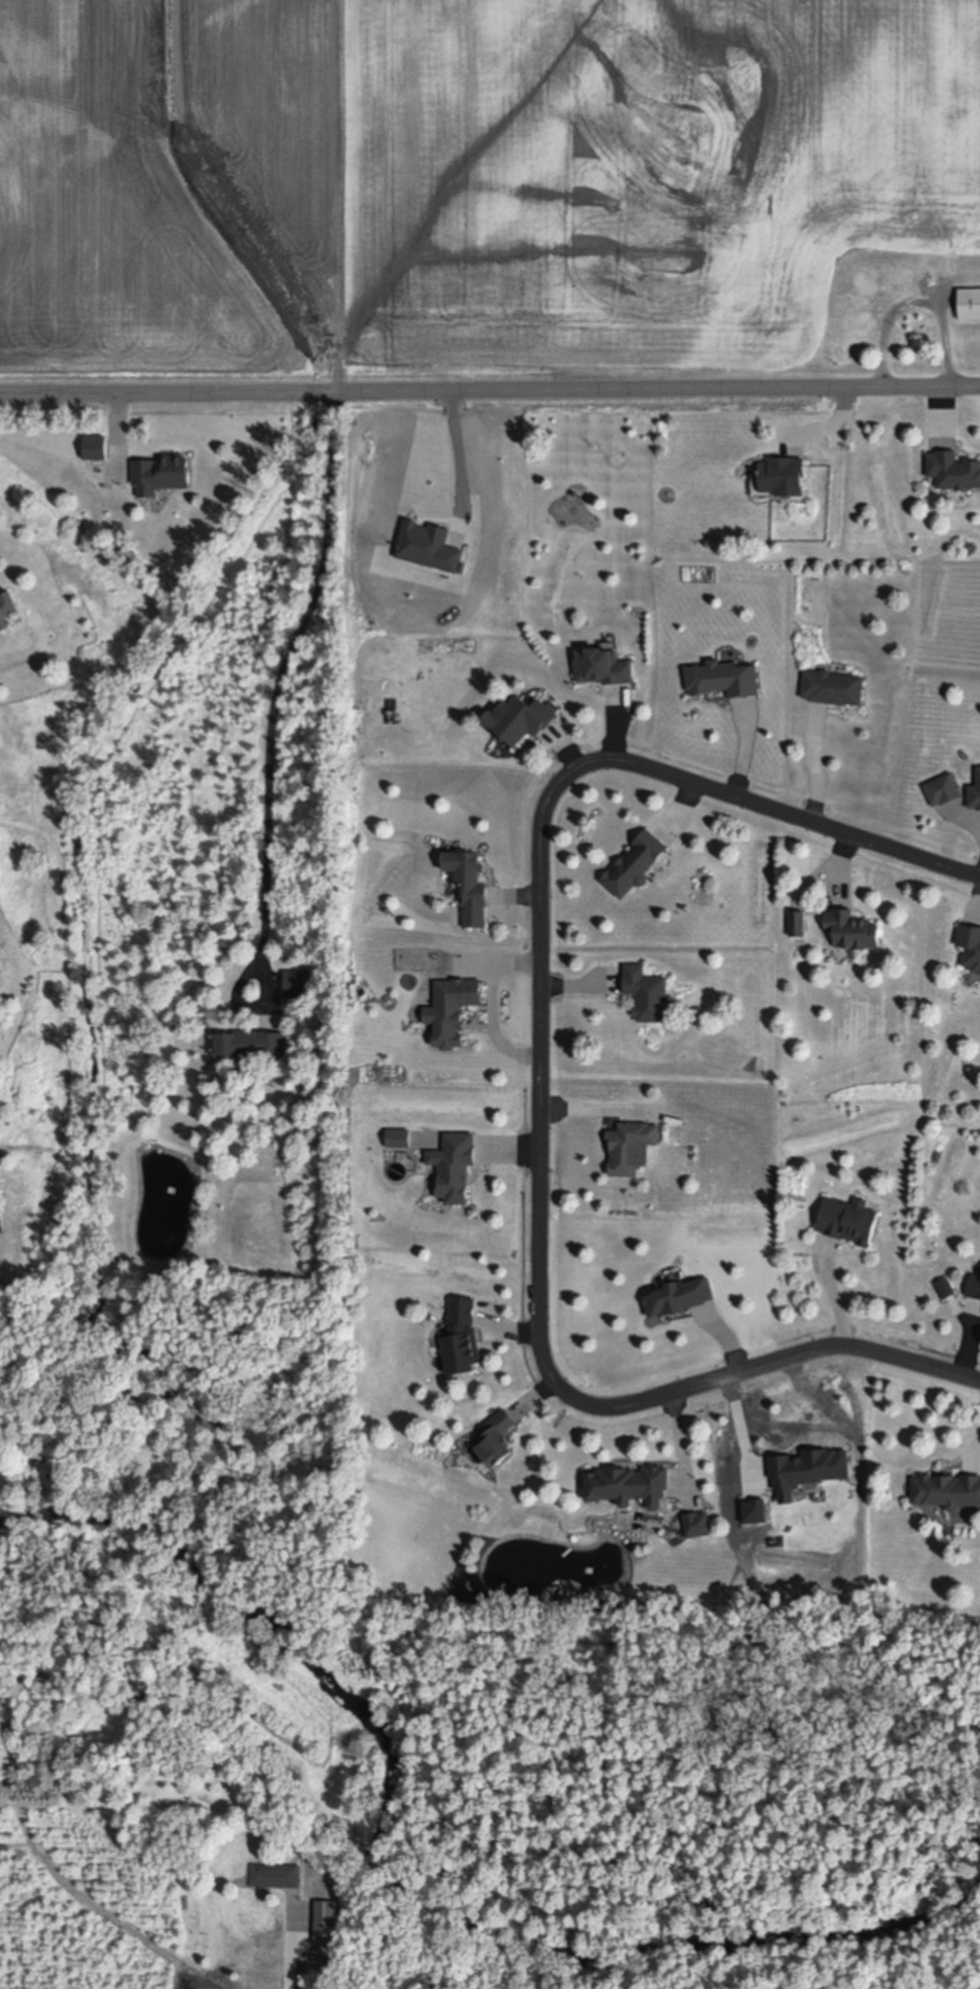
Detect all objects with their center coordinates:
road: (917, 303)
building: (969, 303)
road: (490, 382)
building: (96, 447)
road: (452, 459)
building: (953, 470)
building: (161, 474)
building: (781, 475)
building: (7, 608)
building: (603, 667)
road: (283, 668)
building: (722, 679)
building: (832, 687)
building: (519, 719)
road: (816, 771)
building: (943, 790)
building: (975, 793)
building: (635, 864)
building: (469, 885)
building: (797, 924)
building: (851, 930)
building: (970, 947)
building: (296, 984)
building: (646, 995)
road: (492, 1007)
building: (451, 1010)
building: (250, 1044)
road: (542, 1084)
road: (587, 1112)
building: (327, 1128)
building: (398, 1138)
building: (631, 1147)
building: (454, 1166)
building: (848, 1221)
building: (945, 1288)
building: (974, 1288)
road: (835, 1295)
building: (679, 1298)
building: (461, 1338)
building: (498, 1440)
road: (683, 1446)
road: (978, 1451)
building: (340, 1467)
building: (629, 1487)
building: (947, 1492)
building: (698, 1526)
building: (275, 1879)
building: (326, 1927)
road: (288, 1959)

